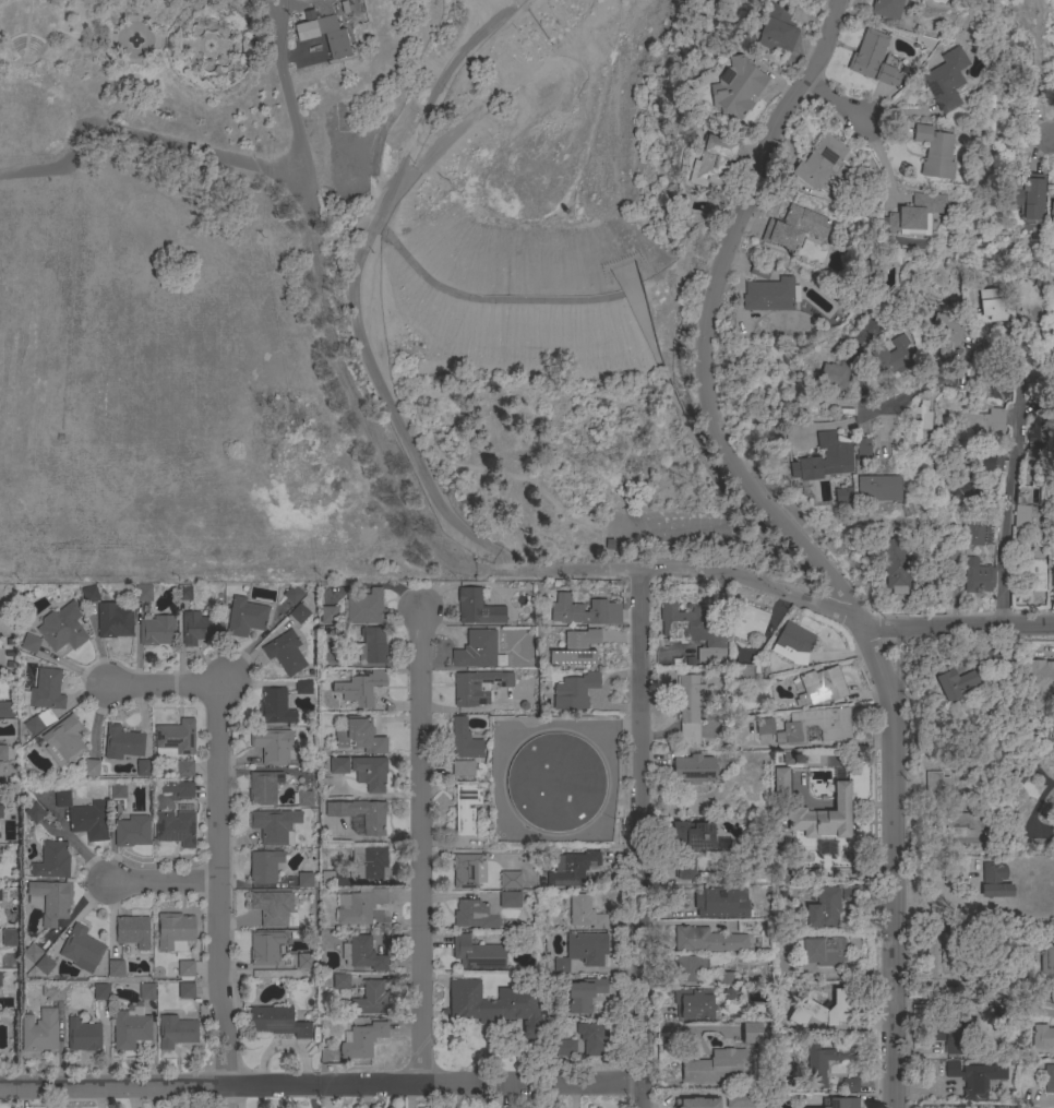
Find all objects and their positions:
building: (915, 0)
building: (886, 8)
building: (777, 27)
road: (275, 33)
building: (323, 33)
building: (874, 59)
building: (945, 81)
building: (735, 87)
road: (836, 104)
road: (1051, 139)
road: (139, 142)
building: (933, 152)
building: (711, 162)
building: (818, 164)
building: (1027, 198)
building: (1051, 213)
building: (914, 214)
road: (380, 215)
building: (794, 228)
building: (762, 270)
building: (870, 270)
building: (768, 295)
dam: (482, 298)
building: (989, 310)
building: (890, 320)
road: (706, 323)
building: (945, 330)
road: (336, 336)
building: (887, 358)
building: (831, 376)
road: (939, 377)
building: (984, 422)
building: (917, 424)
building: (1037, 428)
building: (860, 452)
building: (822, 460)
building: (986, 463)
building: (963, 481)
road: (531, 486)
road: (1008, 486)
building: (875, 488)
building: (840, 495)
building: (1021, 516)
road: (651, 526)
road: (462, 527)
parking lot: (661, 528)
building: (974, 534)
building: (891, 567)
building: (1052, 570)
building: (1029, 575)
building: (978, 576)
building: (143, 593)
building: (89, 594)
building: (184, 594)
building: (294, 594)
road: (795, 597)
building: (366, 608)
building: (478, 608)
building: (567, 611)
building: (598, 611)
building: (299, 613)
building: (328, 616)
building: (244, 617)
building: (113, 620)
building: (679, 621)
building: (748, 623)
building: (62, 628)
building: (199, 629)
building: (157, 630)
building: (332, 634)
building: (793, 643)
building: (31, 644)
building: (372, 645)
building: (576, 647)
building: (712, 648)
building: (478, 651)
building: (0, 653)
building: (285, 653)
building: (989, 659)
road: (896, 663)
building: (741, 671)
building: (955, 683)
building: (823, 686)
building: (303, 687)
building: (477, 687)
building: (1037, 687)
building: (360, 688)
building: (44, 691)
building: (574, 691)
building: (275, 706)
building: (690, 707)
building: (5, 710)
building: (38, 722)
building: (764, 726)
building: (815, 726)
building: (359, 736)
building: (176, 737)
building: (63, 740)
building: (464, 740)
building: (122, 742)
building: (273, 744)
building: (2, 752)
building: (792, 759)
building: (338, 765)
building: (91, 767)
building: (143, 767)
building: (184, 769)
building: (463, 769)
building: (694, 769)
building: (2, 770)
building: (1025, 770)
building: (370, 773)
building: (555, 782)
storage tank: (555, 782)
building: (780, 782)
building: (263, 788)
building: (178, 789)
building: (118, 790)
building: (62, 796)
building: (304, 799)
building: (941, 801)
building: (465, 808)
building: (1, 811)
building: (34, 813)
building: (824, 817)
building: (88, 820)
building: (973, 821)
building: (176, 825)
building: (274, 826)
building: (373, 826)
building: (132, 832)
road: (216, 832)
building: (693, 835)
road: (640, 838)
road: (989, 846)
road: (419, 849)
building: (51, 860)
road: (891, 861)
building: (368, 862)
building: (266, 867)
building: (685, 867)
building: (572, 869)
building: (467, 870)
building: (334, 878)
building: (995, 879)
building: (304, 880)
building: (511, 880)
road: (159, 881)
building: (508, 899)
building: (50, 901)
building: (719, 902)
building: (359, 905)
building: (828, 906)
building: (274, 908)
building: (585, 913)
building: (475, 915)
building: (132, 931)
building: (175, 932)
building: (708, 940)
building: (265, 948)
building: (586, 948)
building: (81, 949)
building: (32, 953)
building: (477, 953)
building: (818, 953)
building: (362, 955)
building: (941, 958)
building: (1046, 960)
building: (304, 961)
building: (44, 964)
building: (561, 965)
building: (116, 968)
building: (688, 968)
building: (185, 969)
building: (724, 978)
building: (0, 981)
building: (340, 982)
building: (187, 991)
building: (52, 992)
building: (100, 992)
building: (146, 992)
building: (584, 994)
road: (969, 998)
building: (371, 1000)
building: (489, 1003)
building: (693, 1003)
building: (825, 1010)
building: (277, 1022)
building: (131, 1028)
building: (40, 1032)
building: (176, 1032)
building: (751, 1033)
building: (953, 1035)
building: (84, 1036)
building: (1042, 1037)
building: (591, 1038)
building: (362, 1040)
building: (562, 1048)
building: (823, 1061)
building: (716, 1068)
building: (974, 1077)
building: (1049, 1079)
building: (850, 1085)
road: (321, 1087)
building: (740, 1099)
building: (696, 1103)
building: (839, 1103)
road: (998, 1106)

